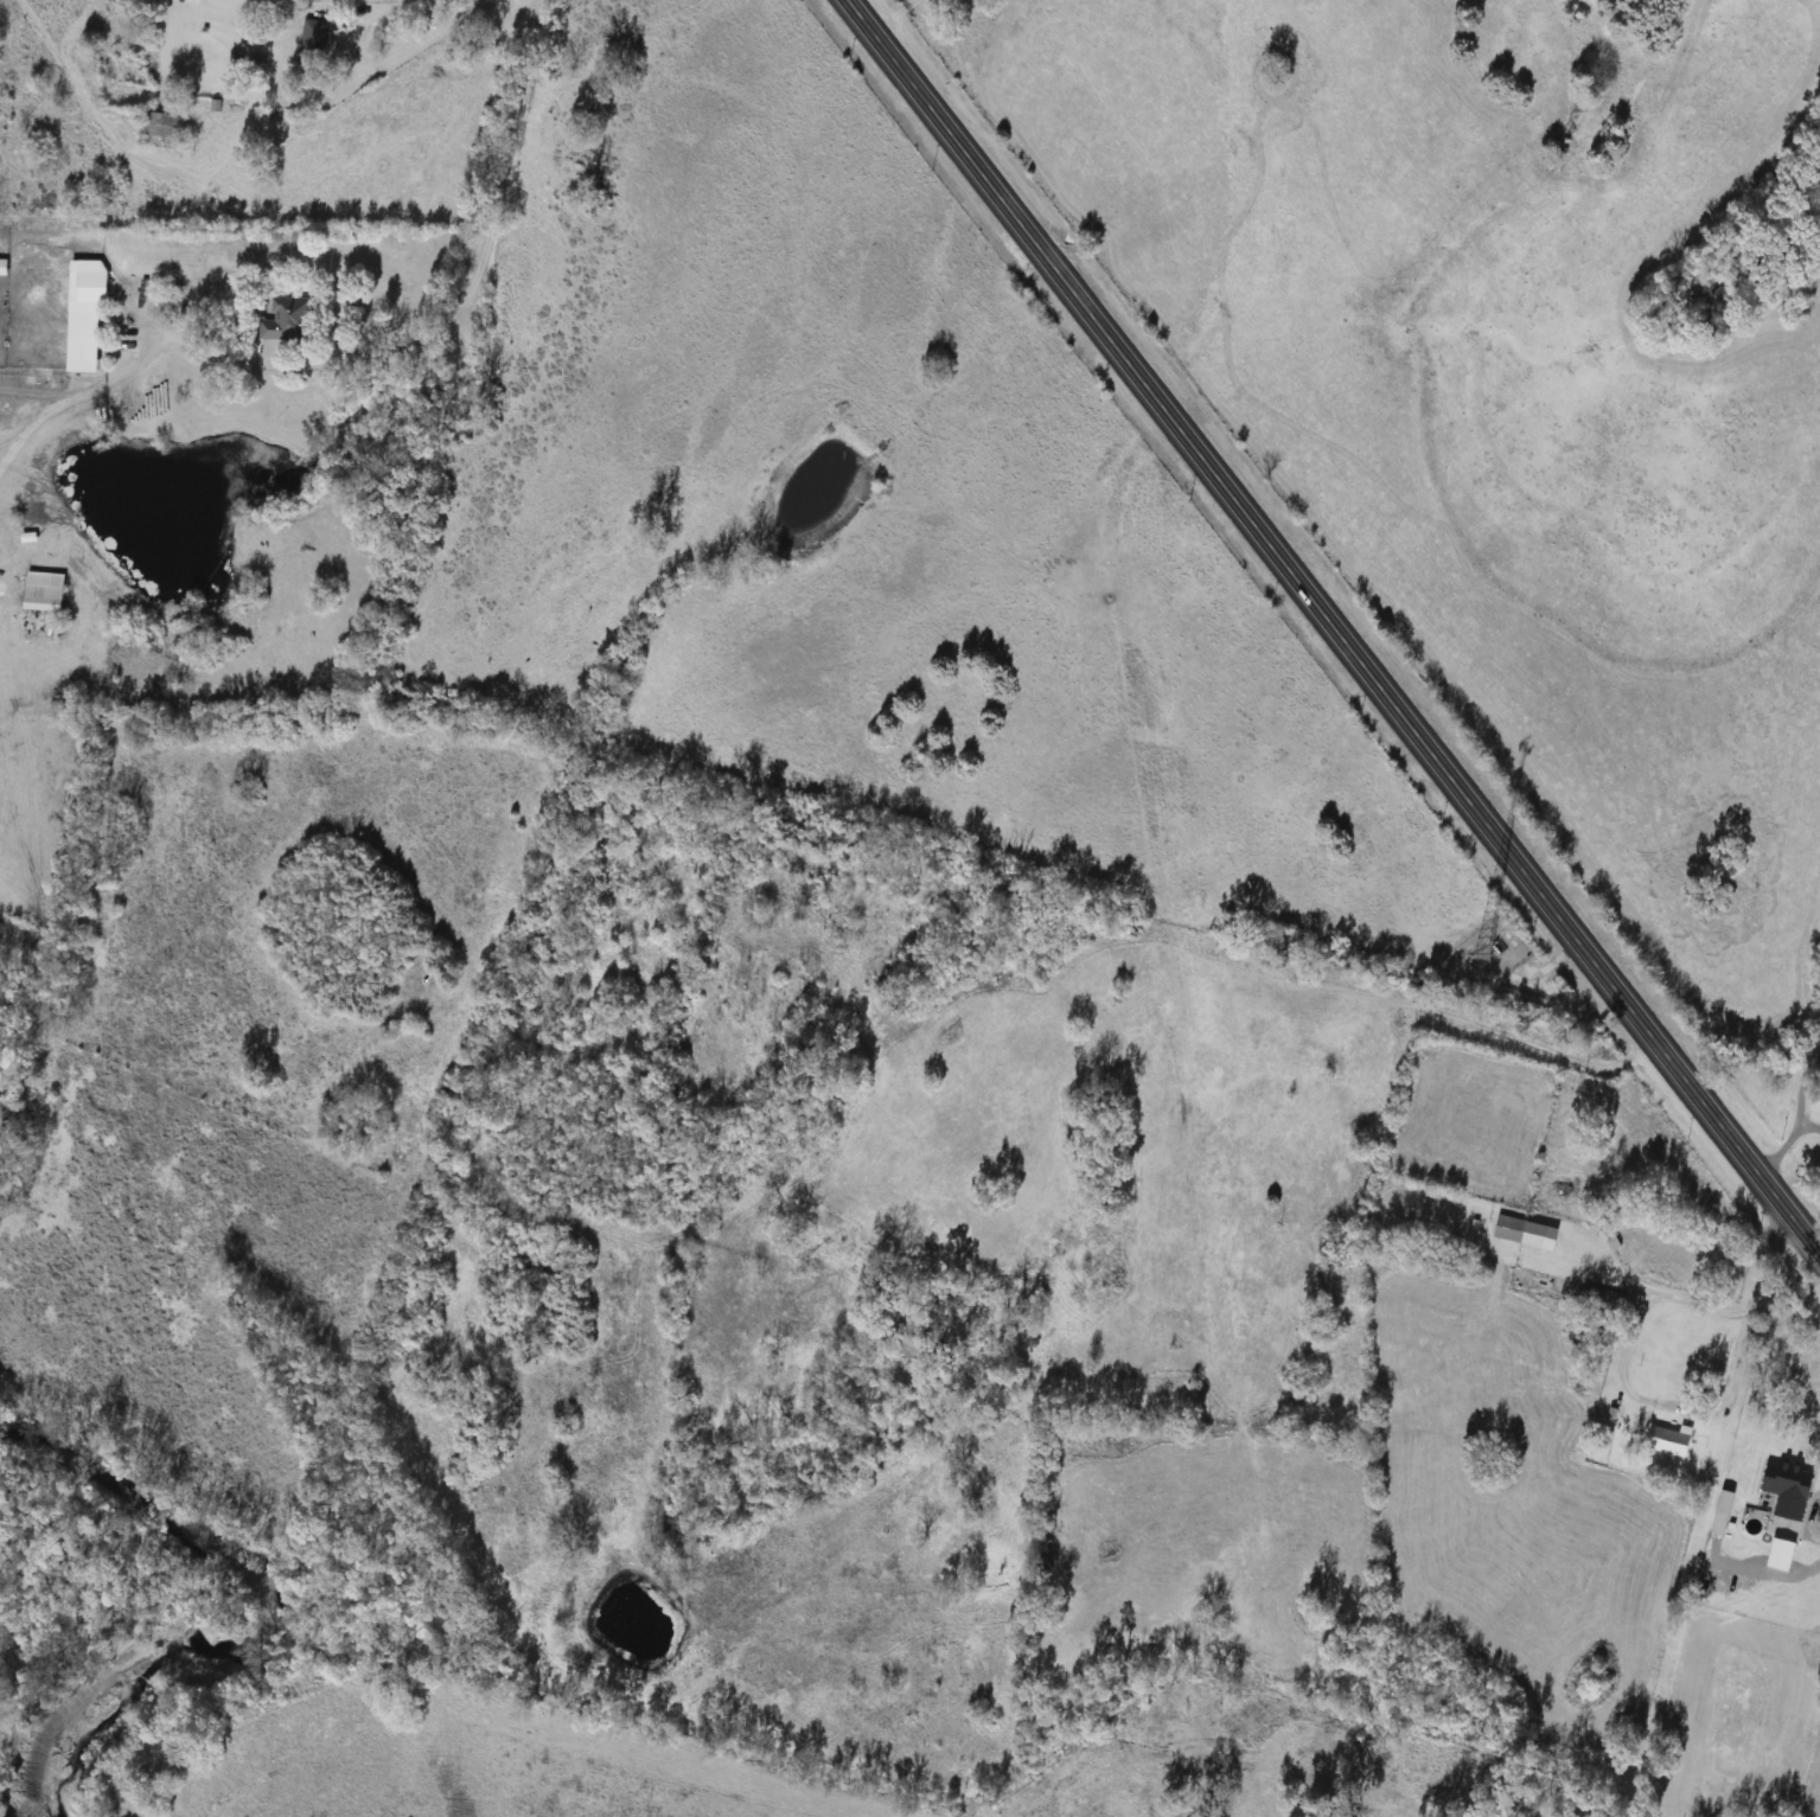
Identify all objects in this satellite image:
building: (311, 37)
building: (159, 130)
road: (505, 153)
building: (179, 294)
building: (132, 306)
building: (285, 320)
road: (209, 345)
building: (40, 591)
road: (1335, 627)
road: (1784, 1144)
building: (1521, 1231)
road: (1668, 1399)
building: (1666, 1439)
building: (1783, 1486)
building: (1722, 1502)
road: (1812, 1514)
building: (1043, 1523)
building: (1041, 1559)
road: (1770, 1572)

